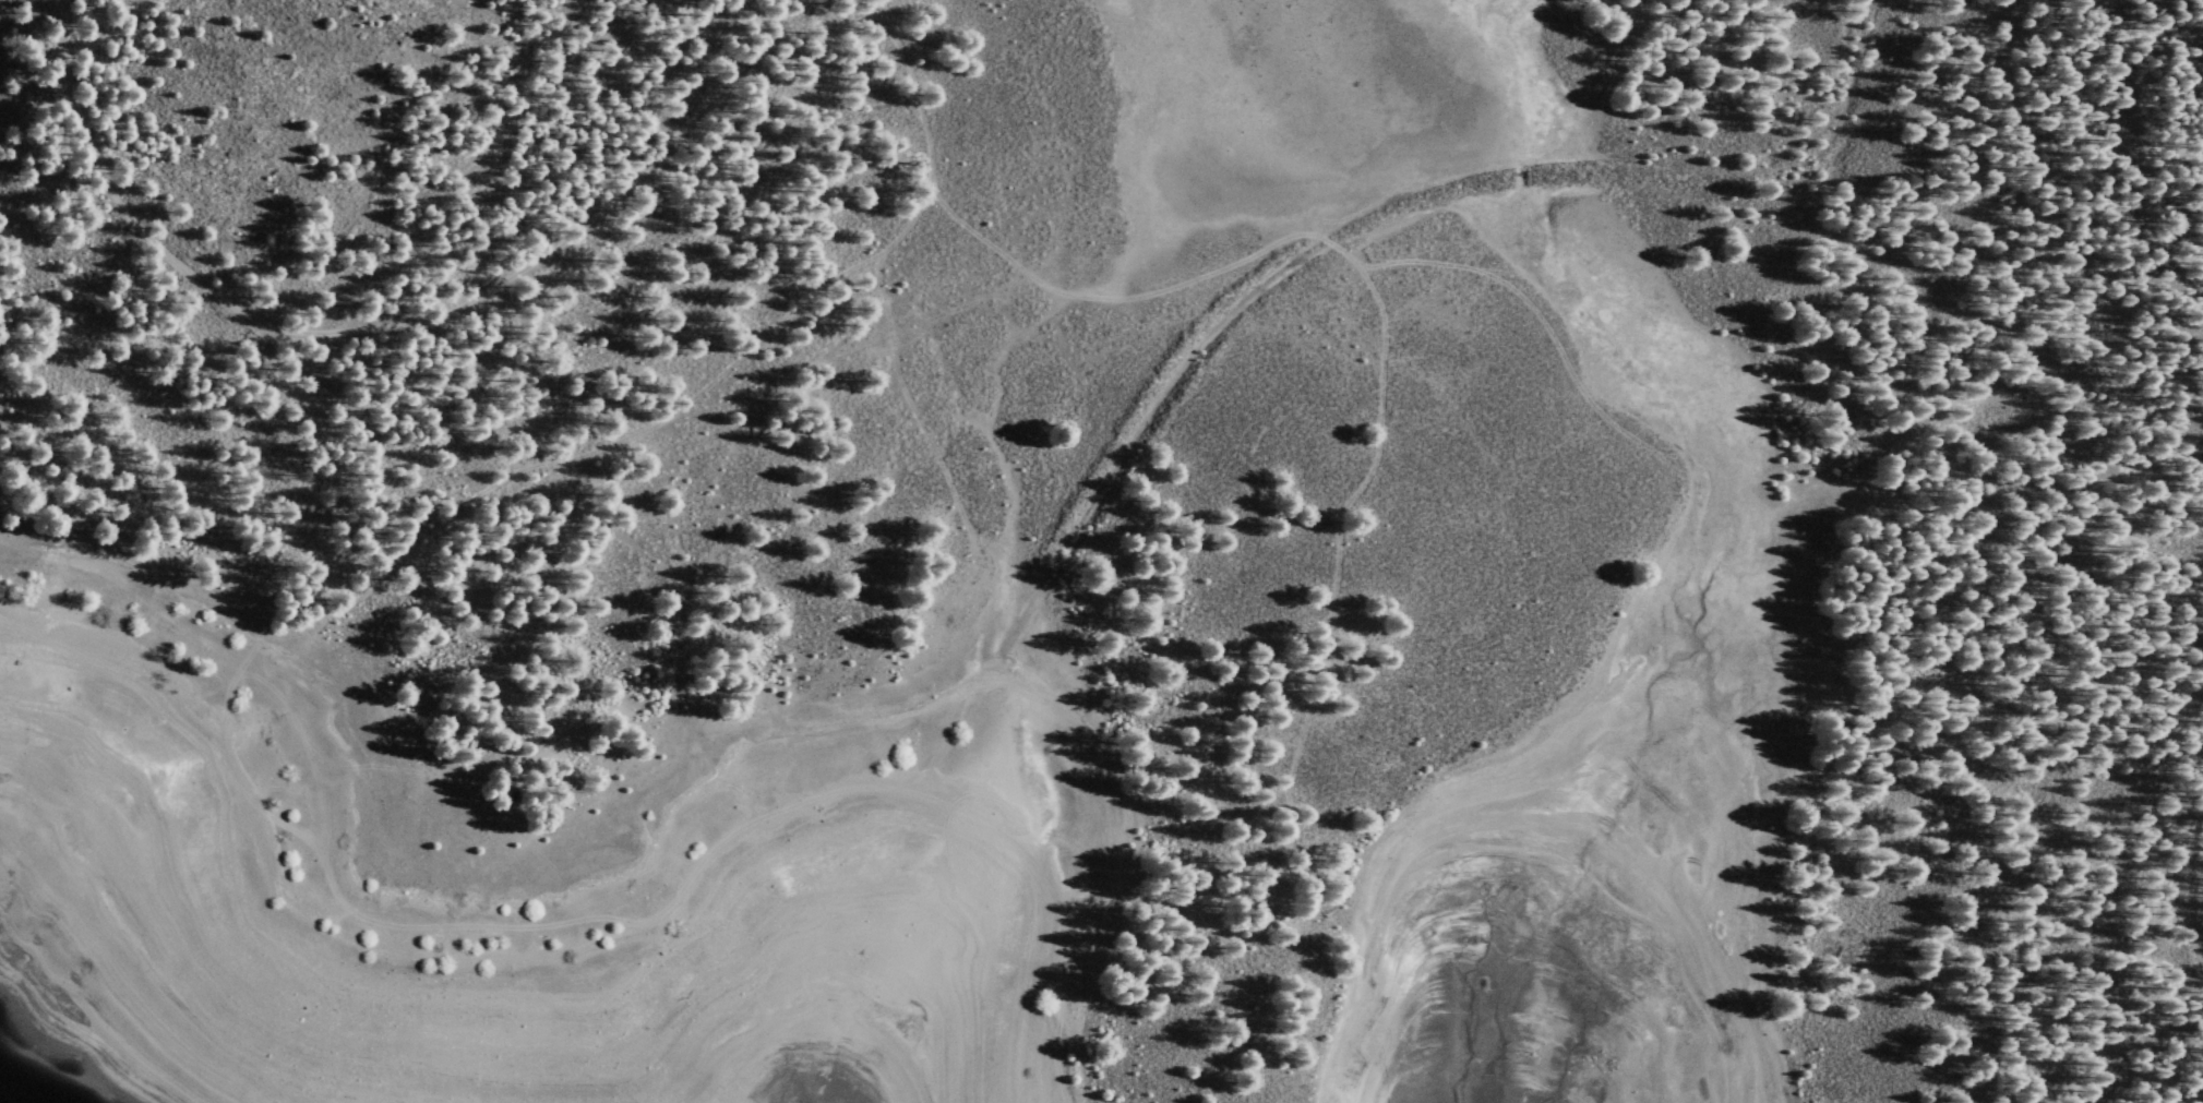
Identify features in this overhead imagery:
road: (399, 343)

